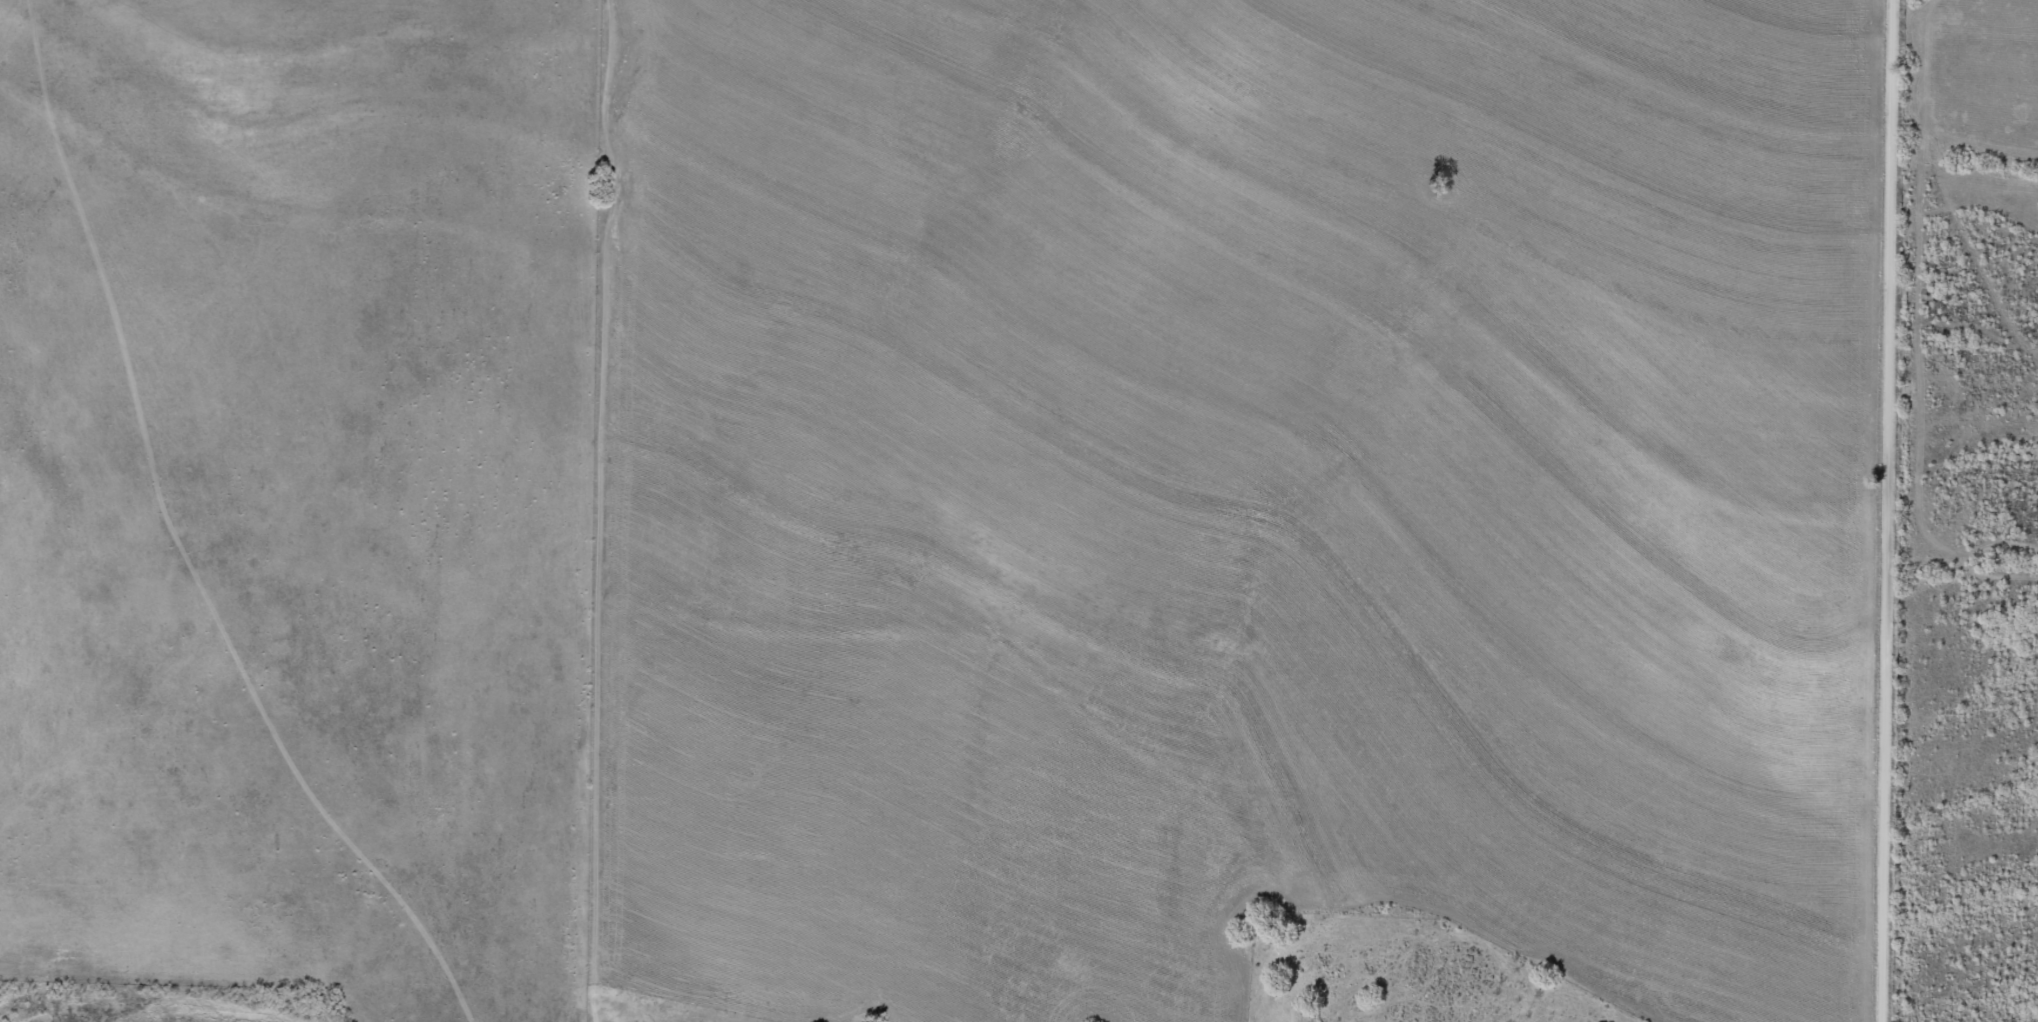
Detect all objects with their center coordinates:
road: (1891, 511)

